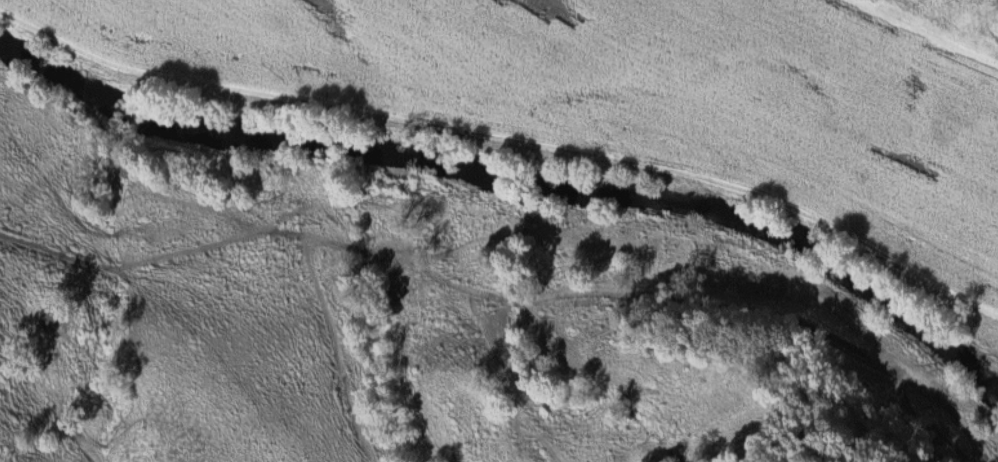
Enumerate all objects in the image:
crop: (633, 99)
river: (514, 159)
road: (204, 208)
road: (127, 258)
road: (556, 288)
building: (48, 317)
road: (60, 408)

